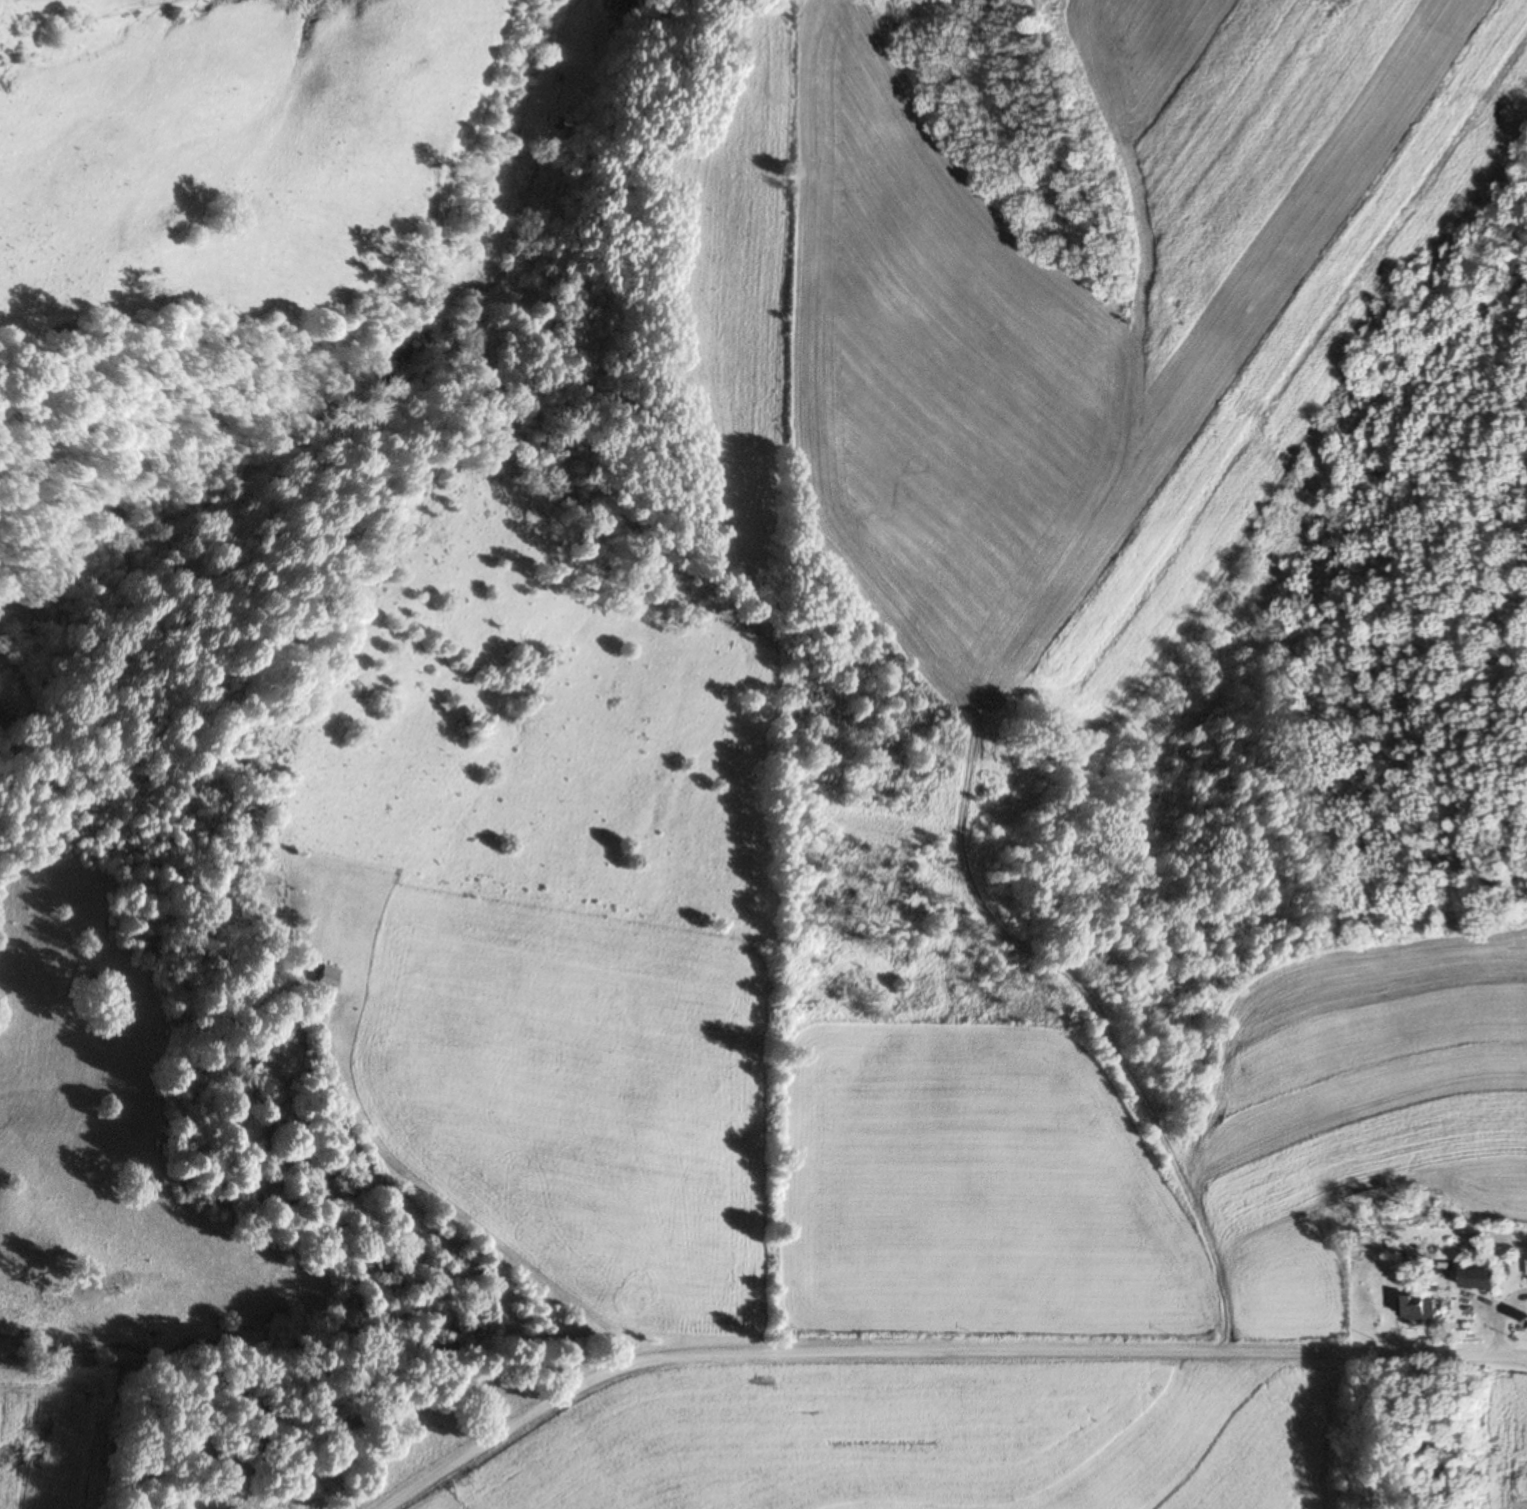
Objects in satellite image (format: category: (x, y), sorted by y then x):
building: (622, 7)
building: (322, 977)
building: (1526, 1268)
building: (1476, 1277)
building: (1417, 1307)
road: (1493, 1320)
road: (932, 1354)
road: (1524, 1355)

